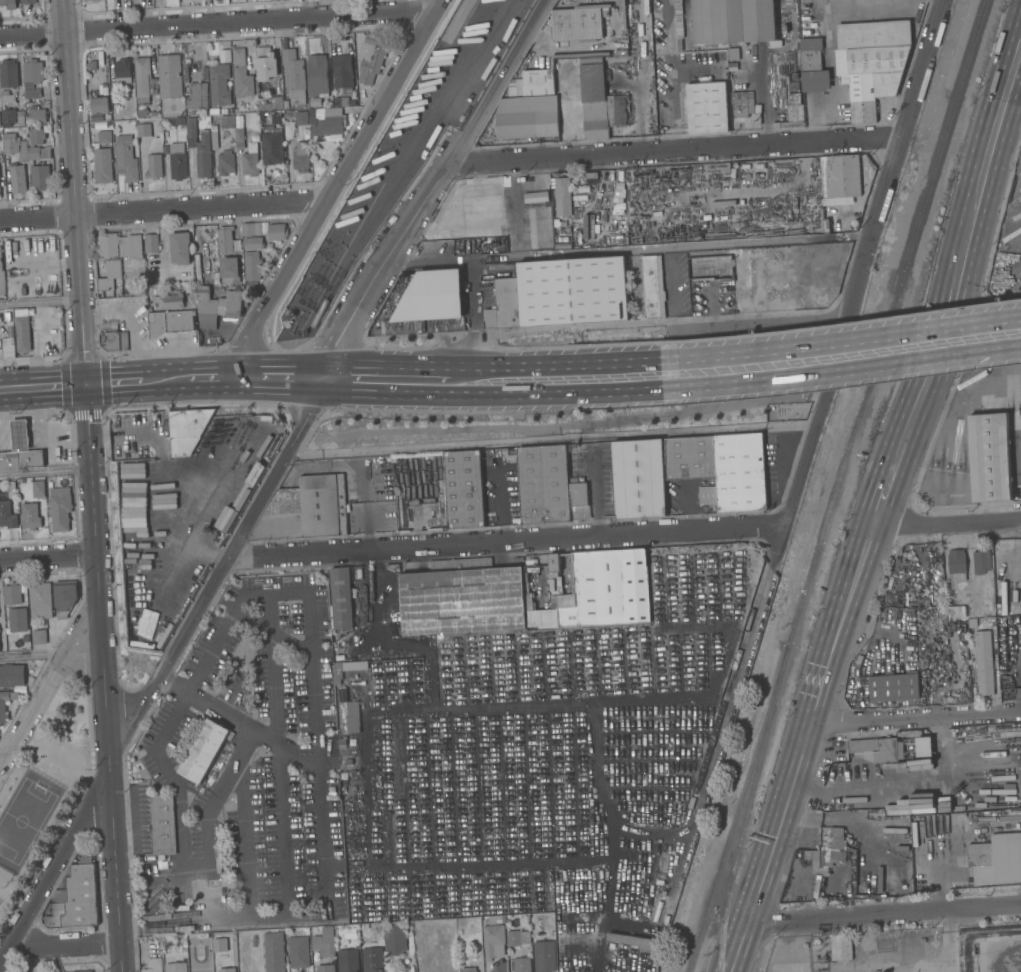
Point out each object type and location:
building: (88, 0)
building: (28, 2)
building: (8, 4)
railway: (461, 19)
building: (679, 19)
building: (734, 21)
road: (216, 23)
building: (578, 23)
building: (733, 53)
building: (93, 55)
building: (238, 56)
building: (371, 58)
building: (266, 63)
building: (871, 63)
building: (732, 66)
building: (813, 66)
building: (123, 71)
building: (8, 73)
building: (342, 73)
building: (317, 74)
road: (672, 75)
building: (170, 76)
building: (293, 76)
building: (32, 78)
building: (144, 81)
building: (242, 82)
building: (538, 83)
building: (219, 84)
road: (1007, 84)
building: (198, 96)
building: (8, 97)
building: (594, 99)
building: (342, 101)
building: (100, 102)
building: (272, 103)
building: (744, 104)
building: (527, 106)
building: (706, 107)
building: (795, 108)
building: (617, 109)
building: (215, 111)
building: (193, 113)
building: (38, 115)
building: (312, 116)
building: (8, 117)
building: (20, 118)
building: (301, 118)
building: (227, 120)
building: (179, 121)
building: (329, 123)
building: (527, 125)
building: (144, 130)
building: (239, 134)
building: (36, 136)
building: (105, 137)
building: (215, 140)
building: (10, 143)
building: (273, 145)
building: (198, 150)
road: (674, 150)
building: (22, 152)
building: (38, 152)
building: (300, 156)
building: (125, 158)
building: (250, 160)
building: (177, 161)
building: (225, 163)
building: (103, 165)
building: (154, 166)
building: (590, 176)
building: (40, 177)
building: (841, 177)
building: (17, 178)
road: (336, 185)
road: (431, 187)
road: (601, 187)
road: (73, 193)
building: (562, 196)
road: (163, 210)
building: (516, 214)
building: (252, 229)
building: (277, 231)
building: (225, 240)
building: (151, 243)
building: (253, 243)
building: (130, 245)
building: (107, 246)
building: (180, 247)
road: (862, 262)
building: (252, 265)
building: (710, 267)
building: (230, 270)
building: (2, 277)
building: (108, 280)
building: (776, 283)
building: (653, 287)
building: (574, 292)
road: (670, 295)
building: (757, 295)
building: (741, 298)
road: (39, 301)
building: (169, 302)
building: (234, 304)
building: (429, 304)
building: (505, 305)
building: (207, 308)
building: (171, 323)
road: (759, 325)
railway: (887, 330)
road: (939, 330)
building: (22, 333)
building: (114, 341)
building: (8, 347)
road: (97, 355)
road: (841, 357)
road: (372, 380)
traffic signals: (84, 386)
road: (41, 388)
building: (187, 429)
road: (57, 434)
building: (19, 435)
road: (20, 437)
road: (6, 438)
road: (550, 440)
road: (957, 452)
road: (105, 454)
building: (62, 457)
building: (989, 457)
building: (21, 460)
building: (723, 467)
road: (90, 470)
road: (45, 471)
building: (639, 479)
building: (10, 484)
building: (544, 485)
road: (594, 487)
building: (38, 488)
building: (464, 489)
building: (707, 495)
building: (579, 501)
road: (365, 508)
building: (305, 510)
building: (60, 514)
building: (7, 515)
building: (30, 516)
road: (945, 524)
road: (944, 539)
road: (508, 543)
road: (47, 557)
building: (981, 561)
road: (226, 563)
building: (956, 565)
building: (890, 582)
building: (636, 586)
road: (748, 588)
building: (590, 591)
building: (12, 594)
building: (65, 596)
building: (341, 598)
building: (462, 598)
building: (40, 601)
building: (957, 612)
building: (541, 618)
building: (18, 620)
building: (39, 636)
road: (208, 650)
road: (32, 654)
building: (984, 663)
building: (346, 669)
building: (12, 675)
road: (1017, 675)
building: (894, 687)
road: (42, 691)
building: (342, 694)
road: (667, 696)
road: (586, 702)
building: (2, 707)
building: (350, 717)
road: (119, 718)
road: (916, 719)
road: (276, 721)
building: (0, 725)
building: (342, 741)
building: (924, 747)
road: (806, 748)
building: (878, 749)
building: (204, 751)
road: (3, 754)
building: (348, 762)
road: (107, 763)
park: (41, 790)
building: (346, 796)
railway: (745, 814)
railway: (733, 815)
building: (163, 824)
road: (365, 840)
building: (827, 849)
building: (348, 852)
building: (996, 859)
road: (183, 861)
road: (128, 863)
road: (52, 873)
building: (818, 885)
building: (77, 898)
building: (657, 911)
road: (883, 917)
building: (496, 919)
building: (349, 933)
building: (513, 937)
building: (394, 938)
building: (218, 940)
building: (630, 940)
building: (493, 941)
building: (324, 944)
road: (62, 947)
building: (841, 947)
building: (229, 950)
building: (298, 951)
building: (274, 952)
building: (544, 956)
building: (372, 959)
building: (348, 960)
building: (1008, 960)
building: (153, 965)
building: (522, 965)
building: (176, 967)
building: (501, 967)
building: (325, 968)
building: (411, 968)
building: (469, 969)
building: (85, 971)

